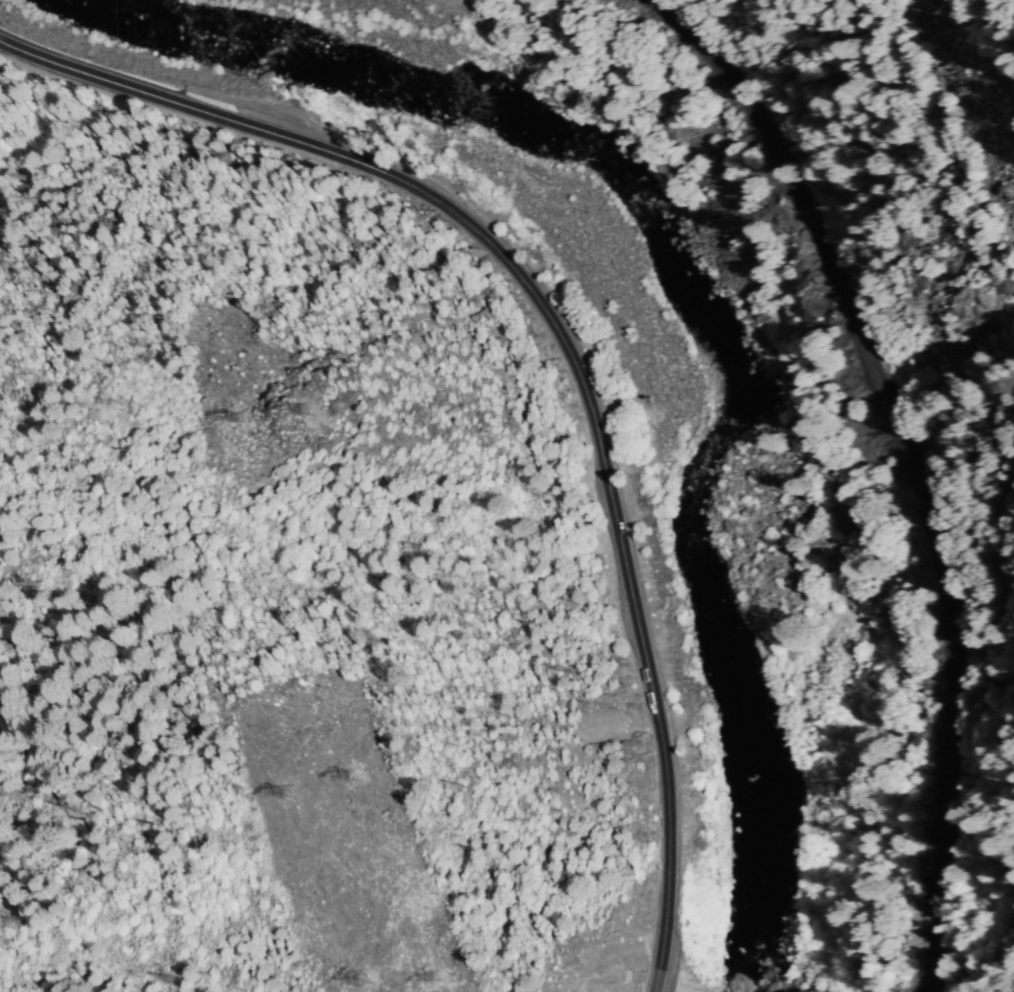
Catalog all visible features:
river: (366, 66)
power tower: (989, 125)
river: (692, 294)
road: (565, 345)
railway: (911, 464)
river: (704, 468)
river: (757, 758)
power tower: (354, 773)
power tower: (290, 793)
power tower: (435, 977)
power tower: (366, 978)

